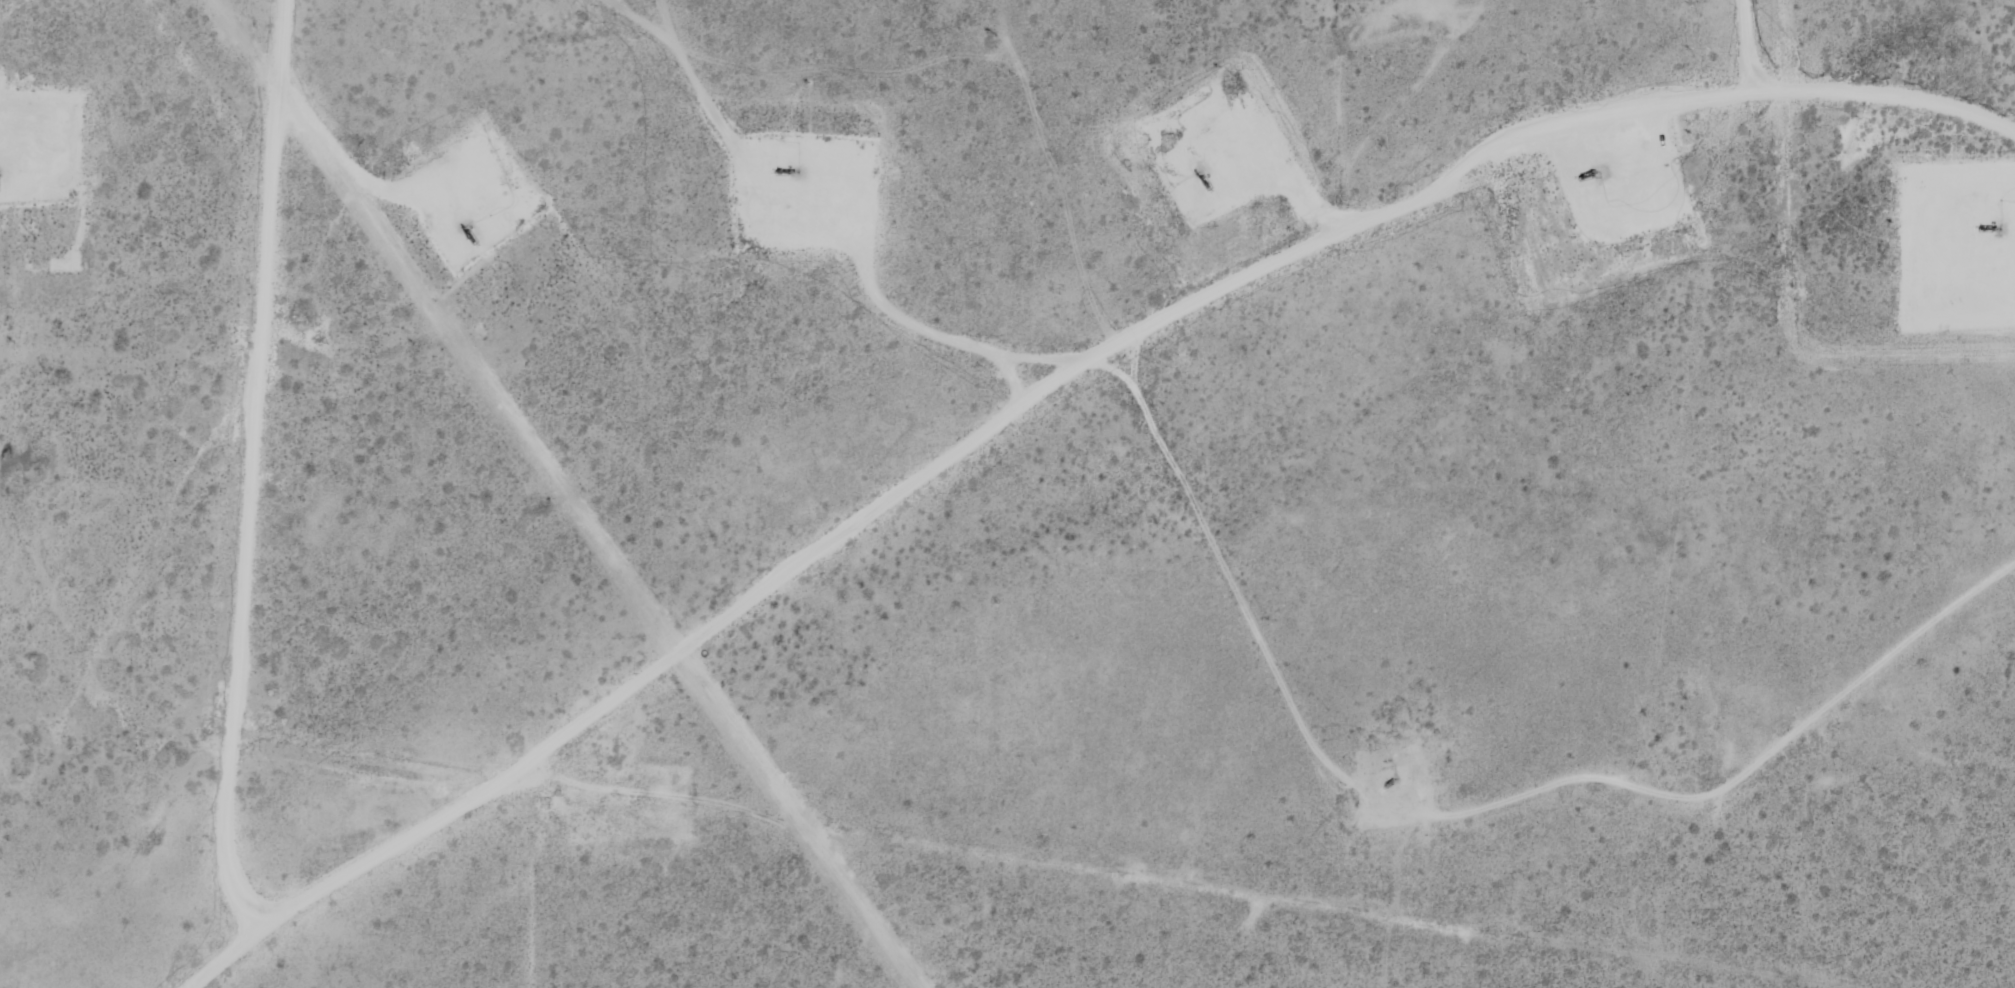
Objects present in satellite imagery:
road: (1253, 230)
road: (1174, 421)
road: (131, 493)

